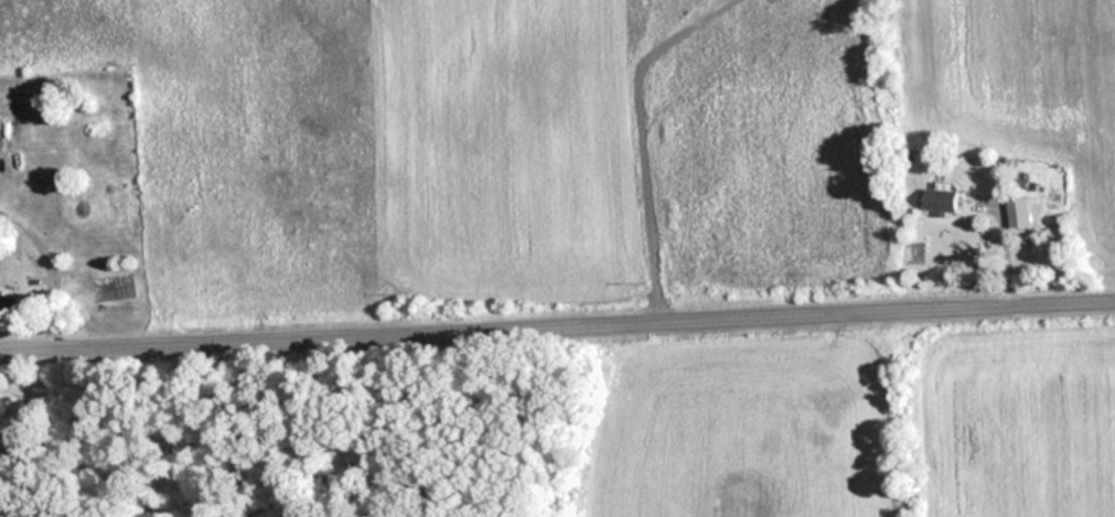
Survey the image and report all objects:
building: (940, 202)
road: (53, 259)
building: (10, 304)
road: (557, 320)

